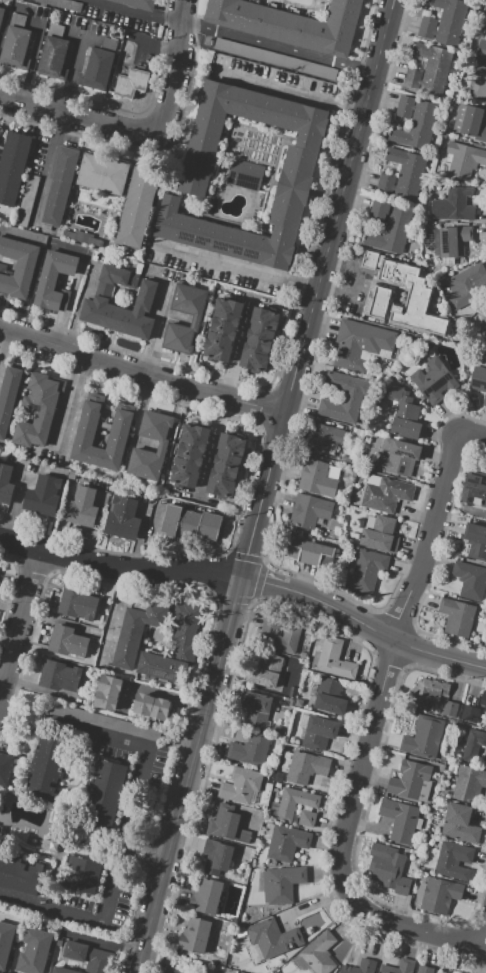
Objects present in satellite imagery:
building: (62, 4)
building: (137, 4)
road: (179, 11)
road: (131, 12)
building: (1, 13)
building: (443, 22)
building: (290, 24)
building: (485, 35)
building: (17, 44)
road: (277, 46)
building: (55, 49)
building: (480, 52)
building: (269, 57)
building: (99, 64)
building: (428, 70)
road: (173, 79)
building: (132, 83)
building: (480, 84)
road: (292, 92)
road: (75, 117)
building: (414, 124)
building: (470, 124)
building: (443, 136)
building: (464, 160)
building: (298, 162)
building: (12, 165)
road: (46, 169)
building: (101, 174)
building: (245, 175)
building: (402, 176)
building: (59, 185)
building: (26, 200)
building: (453, 205)
building: (136, 207)
building: (390, 226)
building: (444, 243)
building: (369, 260)
building: (17, 267)
road: (237, 270)
building: (54, 280)
road: (354, 285)
building: (465, 287)
road: (317, 289)
building: (378, 298)
building: (95, 302)
building: (196, 318)
building: (482, 321)
building: (222, 329)
building: (259, 340)
road: (3, 342)
building: (361, 344)
road: (142, 372)
building: (432, 380)
building: (478, 381)
building: (7, 396)
road: (226, 396)
building: (342, 397)
building: (38, 409)
building: (403, 414)
building: (118, 432)
building: (357, 432)
road: (471, 435)
building: (321, 437)
building: (137, 449)
building: (333, 450)
building: (189, 455)
building: (398, 457)
building: (346, 459)
building: (226, 465)
building: (334, 473)
building: (316, 479)
building: (372, 480)
building: (5, 483)
building: (474, 490)
building: (44, 495)
building: (386, 495)
building: (81, 507)
building: (310, 512)
building: (122, 517)
building: (189, 523)
building: (370, 523)
road: (95, 528)
building: (380, 535)
road: (138, 539)
building: (349, 541)
building: (476, 541)
building: (309, 552)
building: (353, 559)
road: (120, 569)
building: (366, 572)
traffic signals: (242, 580)
building: (470, 581)
road: (264, 583)
building: (77, 603)
building: (456, 616)
road: (18, 626)
building: (186, 628)
building: (136, 632)
road: (384, 635)
building: (279, 636)
building: (66, 641)
building: (332, 659)
building: (163, 668)
building: (266, 670)
building: (58, 676)
building: (107, 691)
building: (428, 691)
building: (330, 697)
building: (291, 701)
building: (483, 701)
building: (300, 703)
building: (151, 706)
building: (255, 708)
building: (449, 709)
building: (470, 712)
building: (104, 722)
building: (319, 733)
road: (368, 735)
building: (424, 737)
building: (473, 744)
building: (249, 750)
building: (286, 760)
building: (485, 762)
building: (305, 767)
building: (47, 768)
building: (5, 769)
road: (189, 776)
building: (278, 776)
building: (269, 778)
building: (411, 781)
building: (469, 784)
building: (278, 785)
building: (241, 786)
building: (103, 794)
building: (294, 803)
building: (441, 805)
building: (307, 819)
building: (399, 819)
building: (418, 824)
building: (460, 824)
building: (227, 825)
building: (0, 829)
building: (269, 829)
road: (127, 836)
building: (51, 842)
building: (432, 842)
building: (286, 843)
road: (147, 848)
building: (217, 856)
building: (385, 859)
building: (453, 860)
road: (143, 862)
building: (273, 863)
building: (424, 867)
building: (84, 875)
building: (19, 877)
building: (282, 884)
building: (402, 886)
building: (438, 895)
building: (204, 897)
building: (194, 935)
road: (484, 938)
building: (271, 940)
building: (5, 942)
building: (58, 943)
building: (34, 951)
building: (319, 953)
building: (88, 957)
building: (233, 960)
building: (359, 966)
building: (405, 966)
building: (385, 969)
building: (425, 969)
building: (171, 970)
building: (241, 972)
building: (336, 972)

